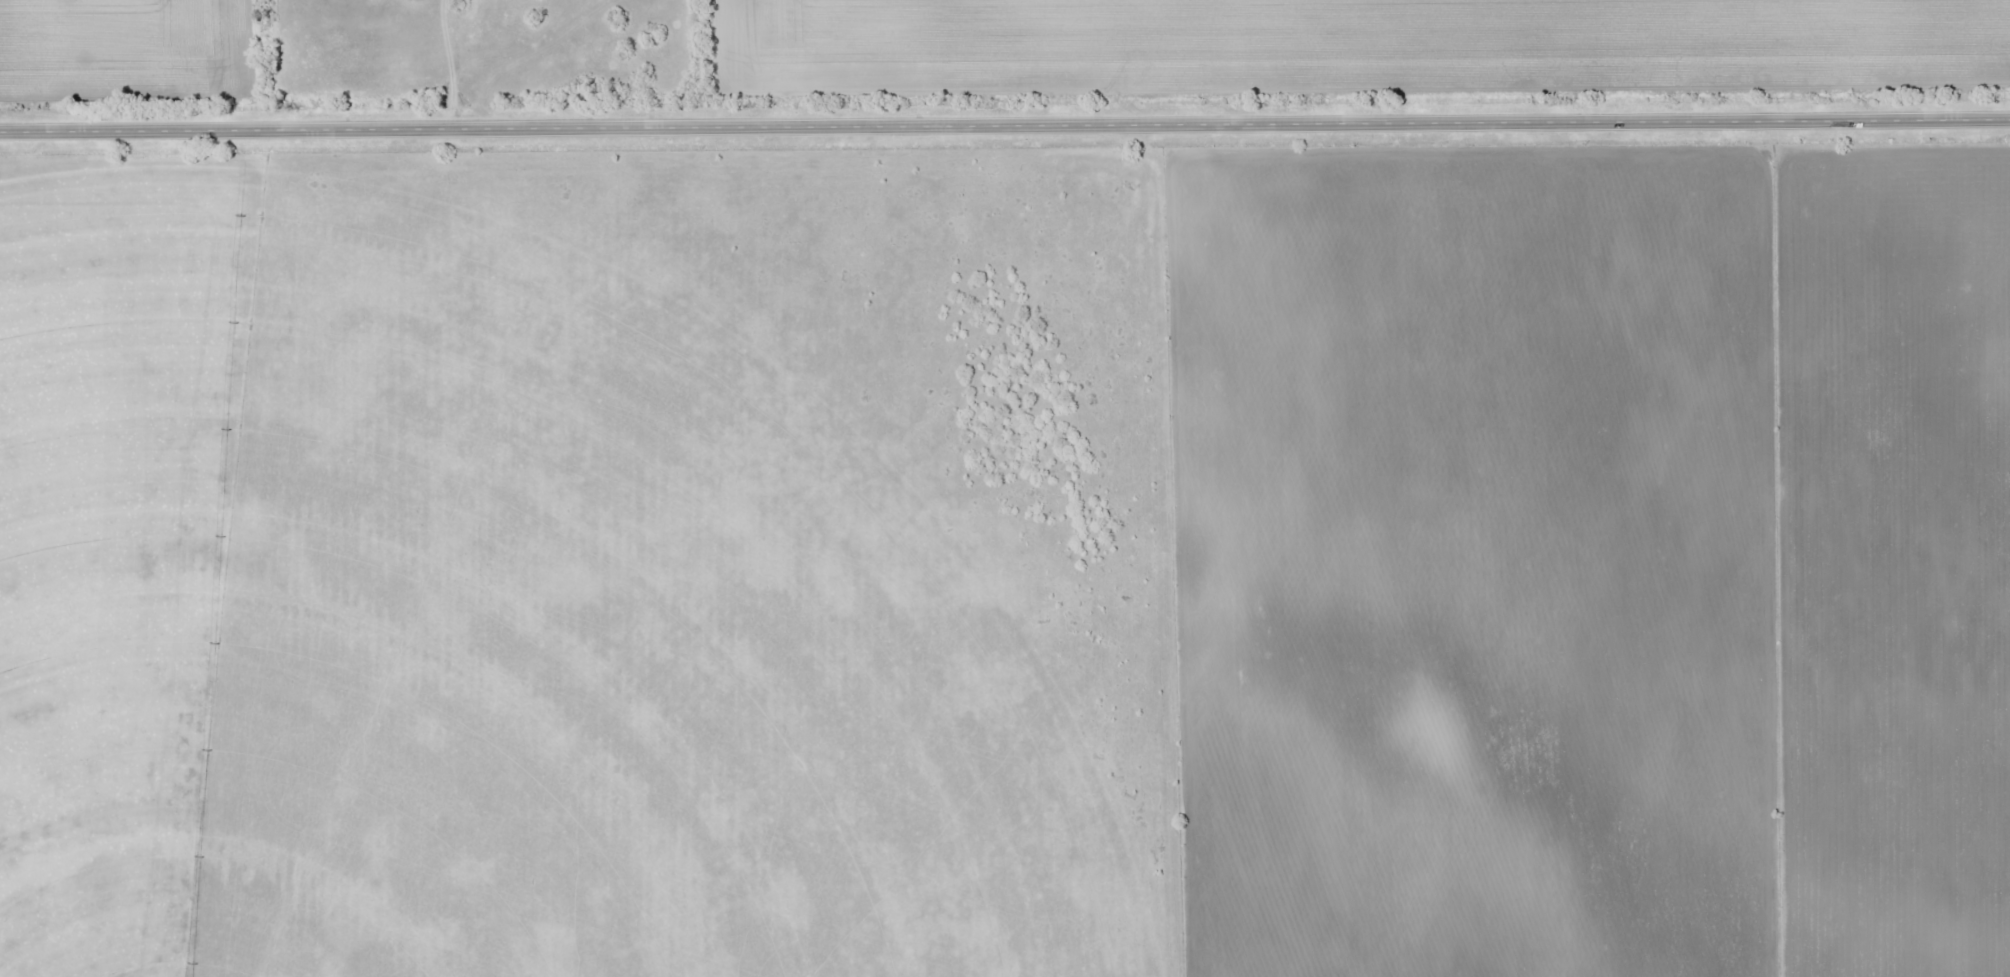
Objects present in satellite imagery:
road: (1005, 124)

